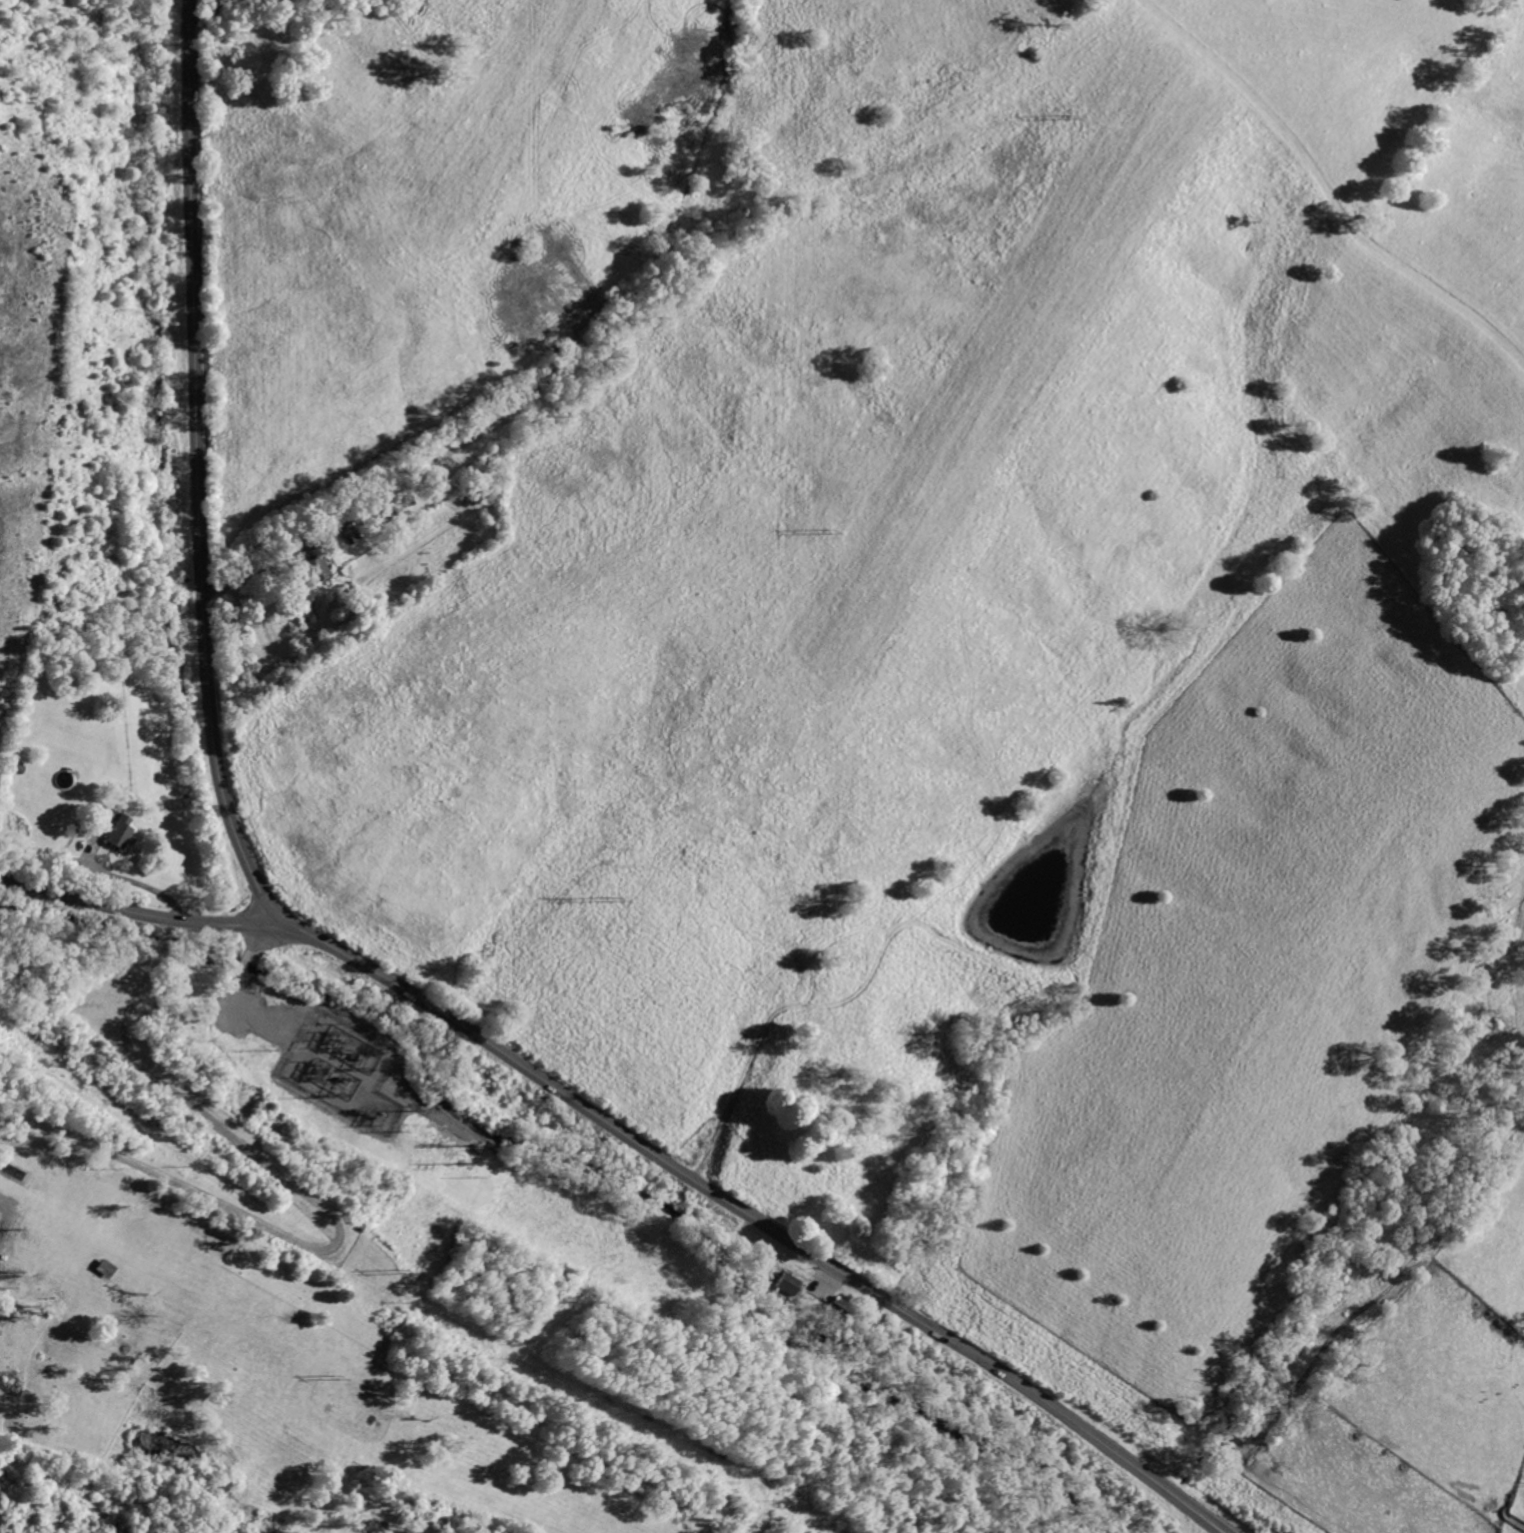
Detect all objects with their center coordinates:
road: (1326, 189)
road: (201, 472)
building: (315, 568)
road: (252, 570)
crop: (946, 654)
building: (118, 831)
road: (138, 882)
road: (141, 914)
power substation: (347, 1074)
road: (323, 1211)
road: (761, 1217)
building: (789, 1285)

